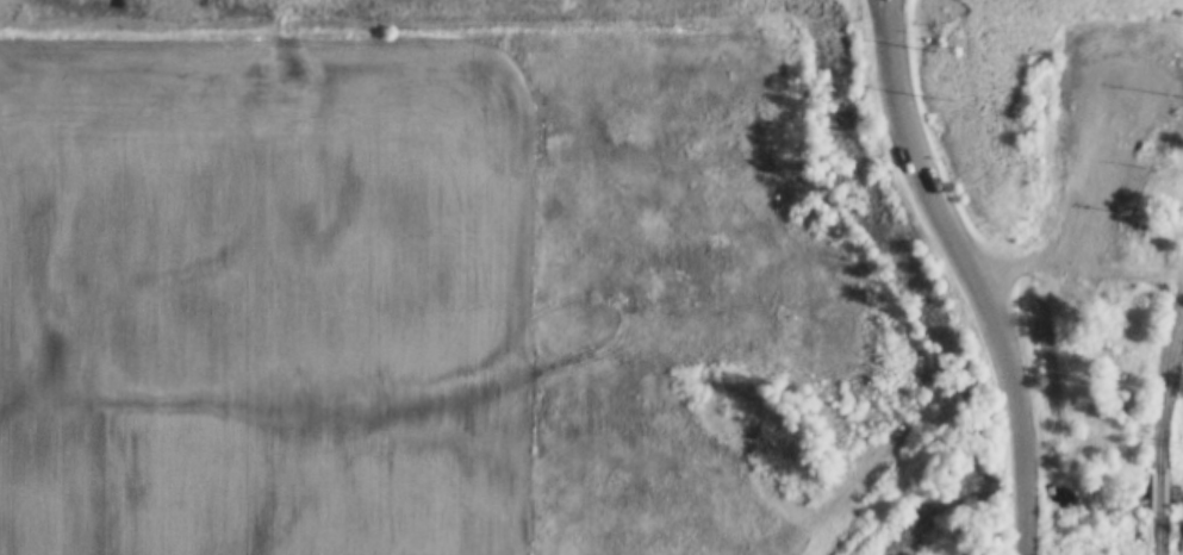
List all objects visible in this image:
storage tank: (1171, 135)
road: (1104, 214)
road: (971, 273)
railway: (1160, 370)
railway: (1166, 386)
railway: (1157, 491)
railway: (1156, 535)

